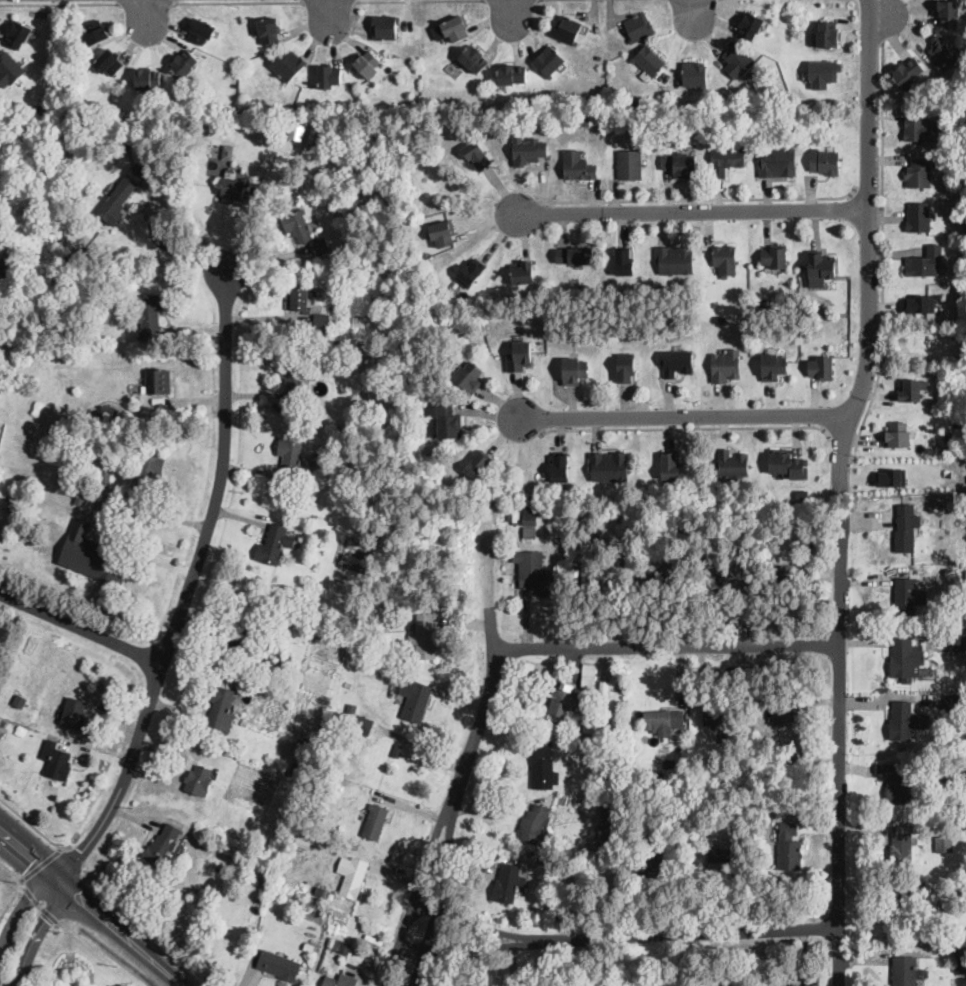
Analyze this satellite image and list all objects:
road: (238, 1)
road: (328, 1)
road: (58, 2)
road: (145, 2)
road: (692, 7)
road: (144, 9)
road: (330, 9)
road: (511, 9)
building: (949, 13)
road: (882, 20)
building: (749, 26)
building: (385, 27)
building: (639, 27)
building: (456, 28)
building: (567, 29)
building: (270, 30)
building: (201, 31)
building: (96, 32)
building: (18, 34)
building: (828, 34)
building: (944, 53)
building: (598, 58)
building: (473, 59)
building: (548, 60)
building: (649, 60)
building: (737, 60)
building: (108, 62)
building: (184, 63)
building: (288, 64)
building: (368, 64)
building: (9, 70)
building: (908, 72)
building: (823, 73)
building: (511, 74)
building: (695, 74)
building: (329, 76)
building: (147, 79)
building: (635, 102)
building: (659, 106)
building: (154, 111)
building: (247, 119)
building: (659, 120)
building: (215, 122)
building: (518, 122)
building: (829, 124)
building: (919, 129)
building: (527, 149)
building: (302, 151)
building: (476, 153)
building: (725, 160)
building: (220, 161)
building: (824, 161)
building: (777, 162)
building: (185, 163)
building: (629, 163)
building: (578, 165)
building: (680, 166)
building: (919, 172)
building: (965, 176)
building: (233, 186)
building: (119, 195)
building: (355, 195)
road: (867, 197)
road: (697, 198)
road: (693, 210)
building: (918, 216)
building: (963, 217)
building: (296, 226)
building: (442, 232)
road: (870, 243)
building: (319, 245)
road: (168, 247)
building: (2, 252)
building: (424, 253)
building: (775, 255)
building: (574, 256)
building: (624, 259)
building: (725, 259)
building: (673, 260)
building: (925, 263)
building: (821, 265)
road: (882, 270)
building: (523, 271)
building: (2, 272)
building: (470, 272)
building: (584, 288)
building: (425, 292)
building: (298, 300)
building: (764, 301)
building: (919, 303)
building: (149, 314)
building: (721, 318)
building: (321, 321)
building: (2, 332)
building: (574, 338)
building: (352, 346)
building: (519, 355)
building: (676, 361)
building: (725, 365)
building: (626, 366)
building: (773, 366)
building: (821, 367)
building: (574, 369)
building: (468, 376)
building: (292, 378)
building: (156, 382)
building: (911, 389)
building: (351, 396)
building: (358, 396)
building: (929, 401)
building: (108, 411)
road: (684, 415)
building: (449, 421)
road: (686, 427)
building: (338, 429)
building: (896, 434)
road: (842, 436)
building: (947, 436)
building: (289, 458)
building: (670, 463)
building: (732, 463)
building: (478, 464)
building: (787, 464)
building: (560, 466)
building: (609, 466)
building: (948, 472)
building: (106, 475)
building: (147, 475)
building: (891, 476)
building: (546, 492)
building: (803, 495)
building: (80, 498)
building: (942, 502)
building: (14, 503)
building: (531, 522)
building: (370, 527)
building: (904, 529)
building: (271, 544)
building: (93, 554)
building: (577, 557)
building: (535, 572)
building: (575, 574)
building: (724, 575)
building: (787, 575)
building: (663, 576)
building: (602, 577)
road: (185, 588)
building: (907, 596)
building: (373, 600)
road: (81, 629)
building: (245, 630)
building: (423, 636)
building: (959, 642)
road: (665, 645)
building: (906, 660)
building: (275, 665)
building: (588, 676)
building: (604, 689)
building: (414, 699)
building: (20, 700)
building: (563, 702)
building: (955, 704)
building: (220, 705)
building: (350, 711)
building: (788, 712)
building: (75, 713)
building: (718, 714)
building: (663, 721)
building: (901, 721)
building: (587, 725)
building: (361, 726)
building: (0, 729)
building: (397, 750)
road: (838, 751)
building: (57, 762)
building: (542, 764)
road: (464, 765)
building: (296, 770)
building: (945, 774)
building: (659, 776)
building: (199, 780)
building: (897, 782)
building: (341, 788)
building: (791, 808)
building: (608, 809)
building: (373, 820)
building: (534, 823)
building: (606, 824)
building: (942, 824)
road: (34, 825)
building: (330, 830)
building: (604, 834)
building: (943, 844)
building: (164, 845)
building: (555, 845)
road: (62, 846)
building: (788, 847)
building: (901, 847)
road: (29, 848)
building: (328, 849)
traffic signals: (82, 851)
building: (719, 856)
road: (74, 859)
building: (546, 860)
building: (656, 860)
road: (26, 861)
road: (41, 863)
traffic signals: (29, 864)
road: (12, 872)
building: (354, 878)
building: (259, 879)
building: (506, 882)
building: (320, 890)
building: (963, 891)
road: (28, 892)
road: (71, 893)
building: (330, 894)
traffic signals: (75, 896)
road: (10, 902)
road: (38, 904)
building: (900, 904)
building: (964, 906)
road: (19, 910)
road: (48, 914)
traffic signals: (45, 918)
road: (62, 920)
road: (36, 932)
road: (118, 932)
road: (623, 933)
building: (338, 945)
building: (308, 947)
building: (961, 960)
building: (278, 964)
building: (904, 971)
building: (340, 981)

